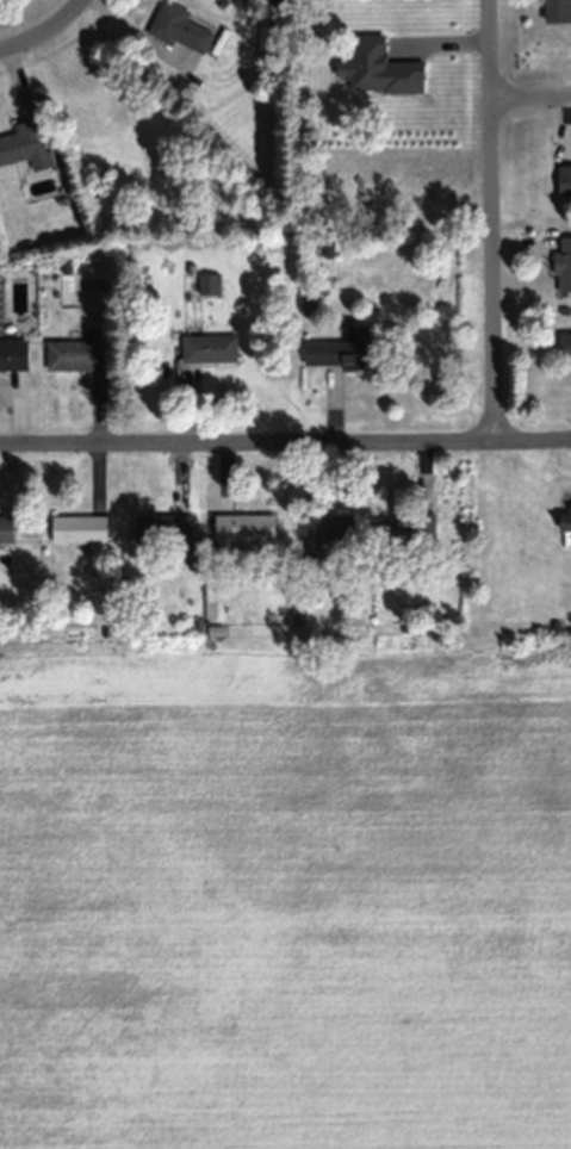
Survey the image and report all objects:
building: (558, 10)
building: (180, 26)
road: (46, 37)
road: (528, 106)
building: (21, 143)
building: (564, 179)
road: (486, 223)
building: (564, 262)
building: (210, 282)
building: (565, 343)
building: (210, 347)
building: (82, 350)
building: (337, 350)
building: (13, 354)
road: (285, 448)
building: (244, 526)
building: (328, 526)
building: (566, 526)
building: (6, 527)
building: (163, 527)
building: (405, 527)
building: (80, 528)
crop: (286, 900)

